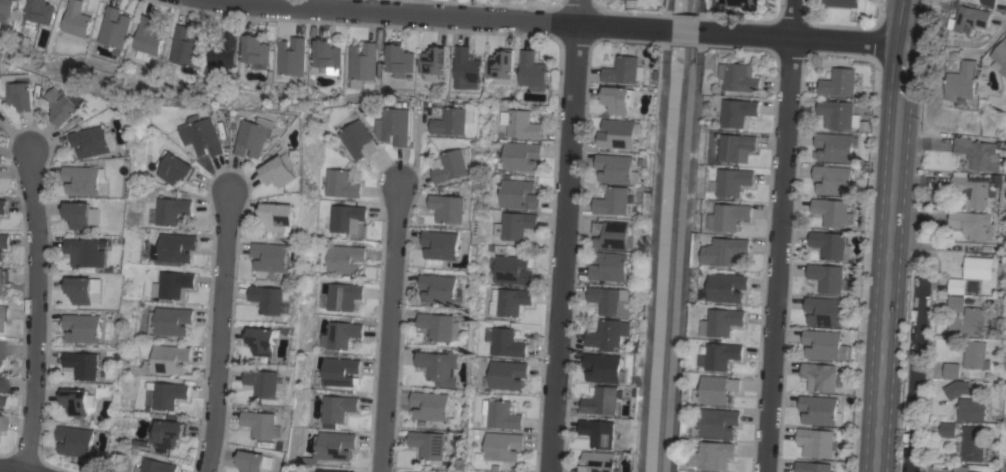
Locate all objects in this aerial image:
building: (636, 0)
building: (991, 2)
building: (739, 3)
building: (842, 3)
building: (6, 6)
building: (39, 11)
building: (971, 19)
building: (75, 20)
road: (561, 24)
building: (113, 29)
building: (147, 36)
building: (185, 48)
building: (255, 50)
building: (221, 54)
building: (327, 57)
building: (290, 58)
building: (1001, 58)
building: (399, 60)
building: (433, 60)
building: (362, 63)
building: (501, 65)
building: (466, 69)
building: (532, 70)
building: (624, 70)
building: (739, 77)
building: (839, 82)
building: (965, 83)
building: (22, 91)
building: (619, 99)
building: (66, 107)
building: (738, 111)
building: (840, 115)
building: (452, 121)
building: (520, 124)
building: (395, 126)
building: (617, 133)
road: (18, 135)
building: (203, 135)
building: (255, 137)
building: (358, 140)
building: (94, 141)
building: (736, 146)
building: (834, 147)
building: (976, 155)
building: (519, 156)
building: (453, 164)
building: (174, 168)
building: (617, 169)
building: (279, 172)
building: (87, 180)
building: (832, 180)
building: (734, 181)
building: (341, 184)
building: (973, 192)
building: (517, 194)
building: (613, 201)
building: (2, 206)
building: (448, 208)
building: (171, 210)
building: (832, 212)
building: (82, 214)
building: (729, 216)
building: (280, 217)
building: (346, 217)
building: (972, 224)
building: (514, 225)
building: (612, 234)
road: (782, 235)
road: (888, 235)
road: (565, 236)
building: (4, 240)
building: (442, 245)
building: (830, 245)
building: (174, 247)
building: (726, 251)
building: (87, 254)
building: (2, 255)
building: (272, 256)
building: (342, 258)
building: (610, 266)
building: (976, 267)
building: (511, 270)
building: (4, 277)
building: (826, 277)
building: (173, 285)
building: (956, 286)
building: (727, 287)
building: (439, 288)
building: (85, 289)
building: (343, 296)
building: (269, 299)
building: (611, 300)
building: (509, 301)
building: (955, 303)
road: (41, 310)
building: (824, 311)
building: (4, 313)
building: (169, 321)
building: (722, 322)
building: (968, 323)
building: (441, 326)
building: (84, 328)
road: (391, 328)
road: (224, 332)
building: (609, 333)
building: (339, 335)
building: (264, 341)
building: (505, 342)
building: (825, 345)
building: (2, 349)
building: (974, 355)
building: (720, 356)
building: (166, 360)
building: (84, 364)
building: (439, 366)
building: (604, 367)
building: (951, 369)
road: (916, 370)
building: (338, 371)
building: (507, 374)
building: (820, 376)
building: (264, 382)
building: (2, 385)
building: (956, 388)
building: (716, 389)
building: (166, 394)
building: (0, 400)
building: (604, 400)
building: (79, 401)
building: (430, 405)
building: (337, 409)
building: (971, 409)
building: (818, 410)
building: (500, 414)
building: (2, 423)
building: (717, 423)
building: (263, 424)
building: (947, 429)
building: (599, 432)
building: (167, 433)
building: (77, 440)
building: (816, 442)
building: (972, 443)
building: (428, 444)
building: (503, 446)
building: (332, 447)
building: (713, 455)
building: (253, 461)
building: (599, 462)
building: (154, 466)
building: (812, 467)
building: (961, 468)
building: (1005, 468)
road: (18, 470)
building: (331, 470)

